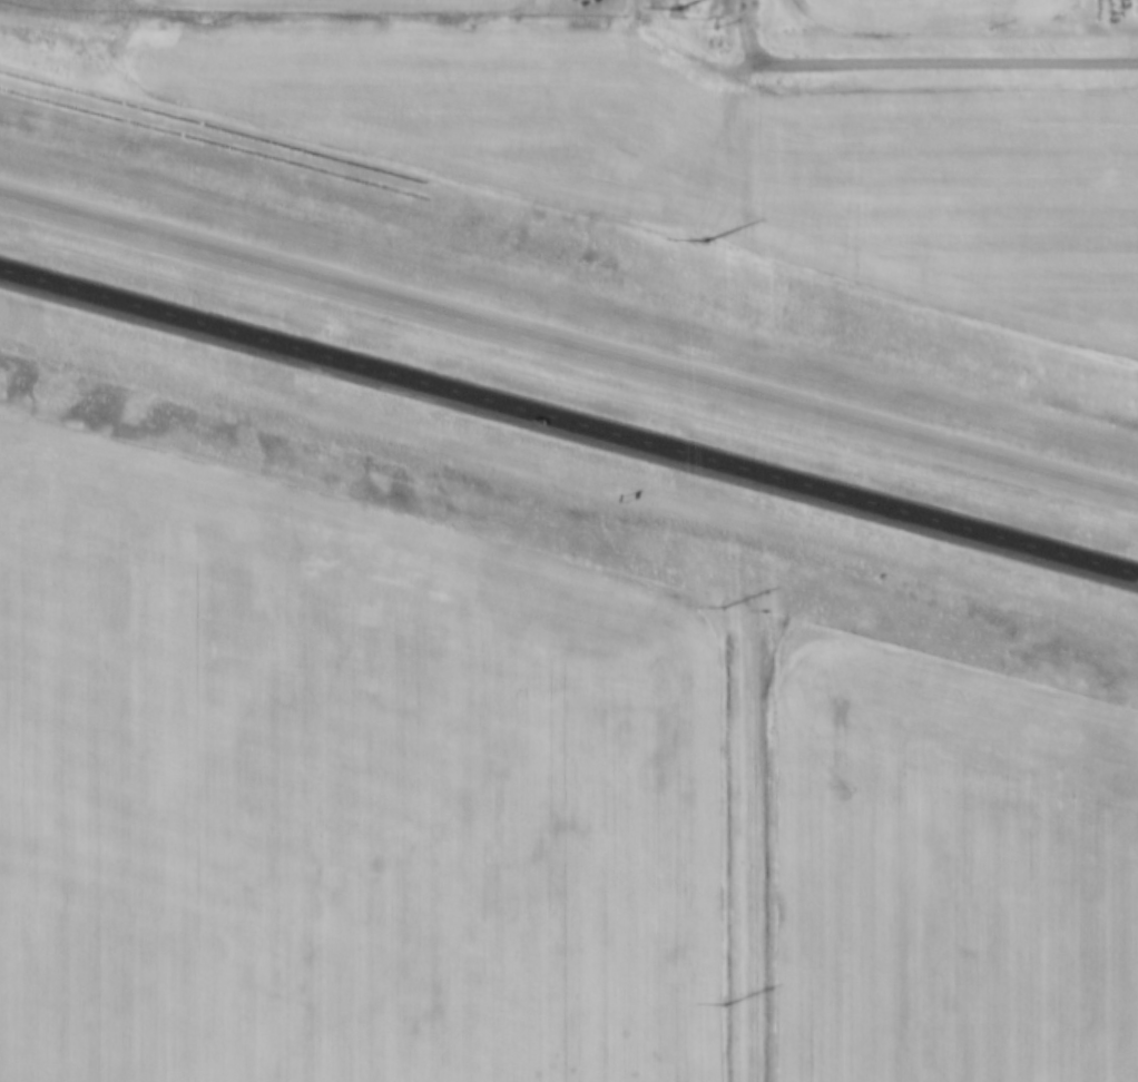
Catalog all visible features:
road: (458, 17)
road: (743, 29)
road: (946, 52)
road: (568, 348)
road: (569, 425)
road: (763, 856)

